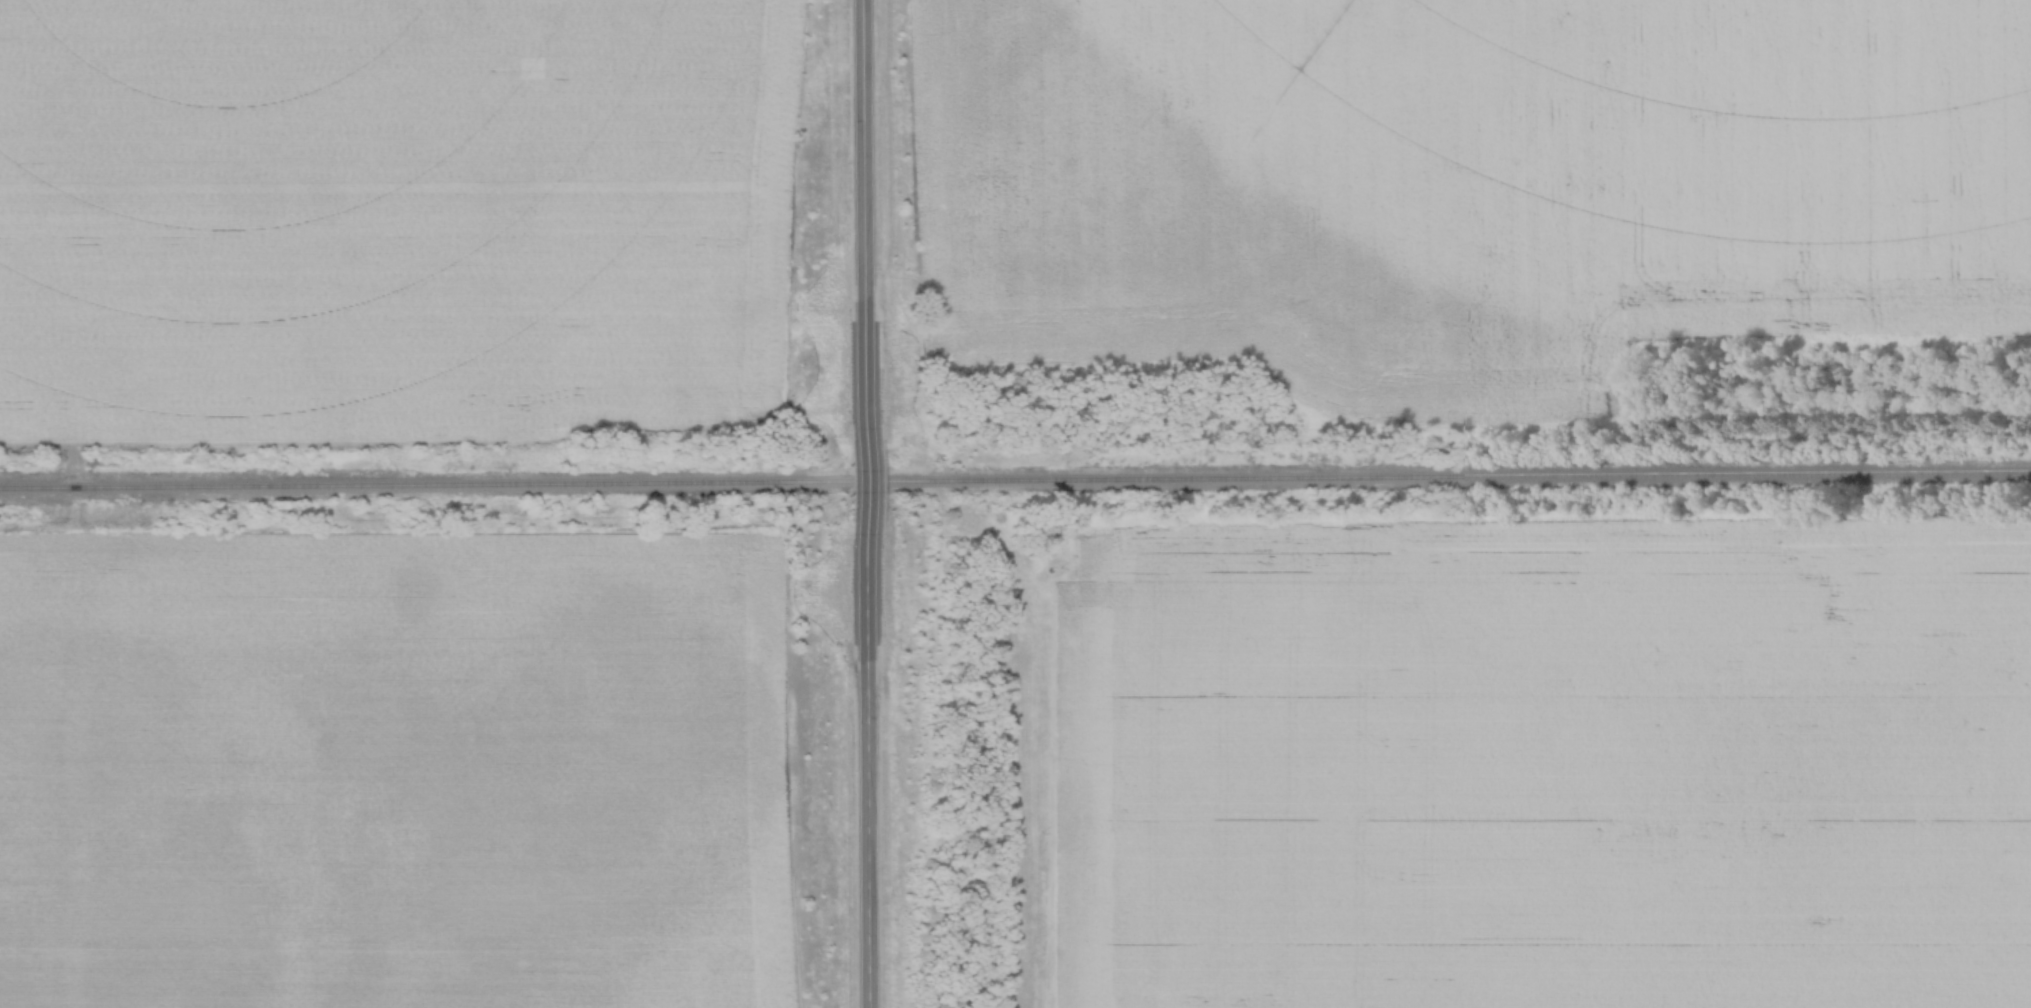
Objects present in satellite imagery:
road: (867, 223)
railway: (1015, 479)
road: (868, 483)
road: (868, 764)

